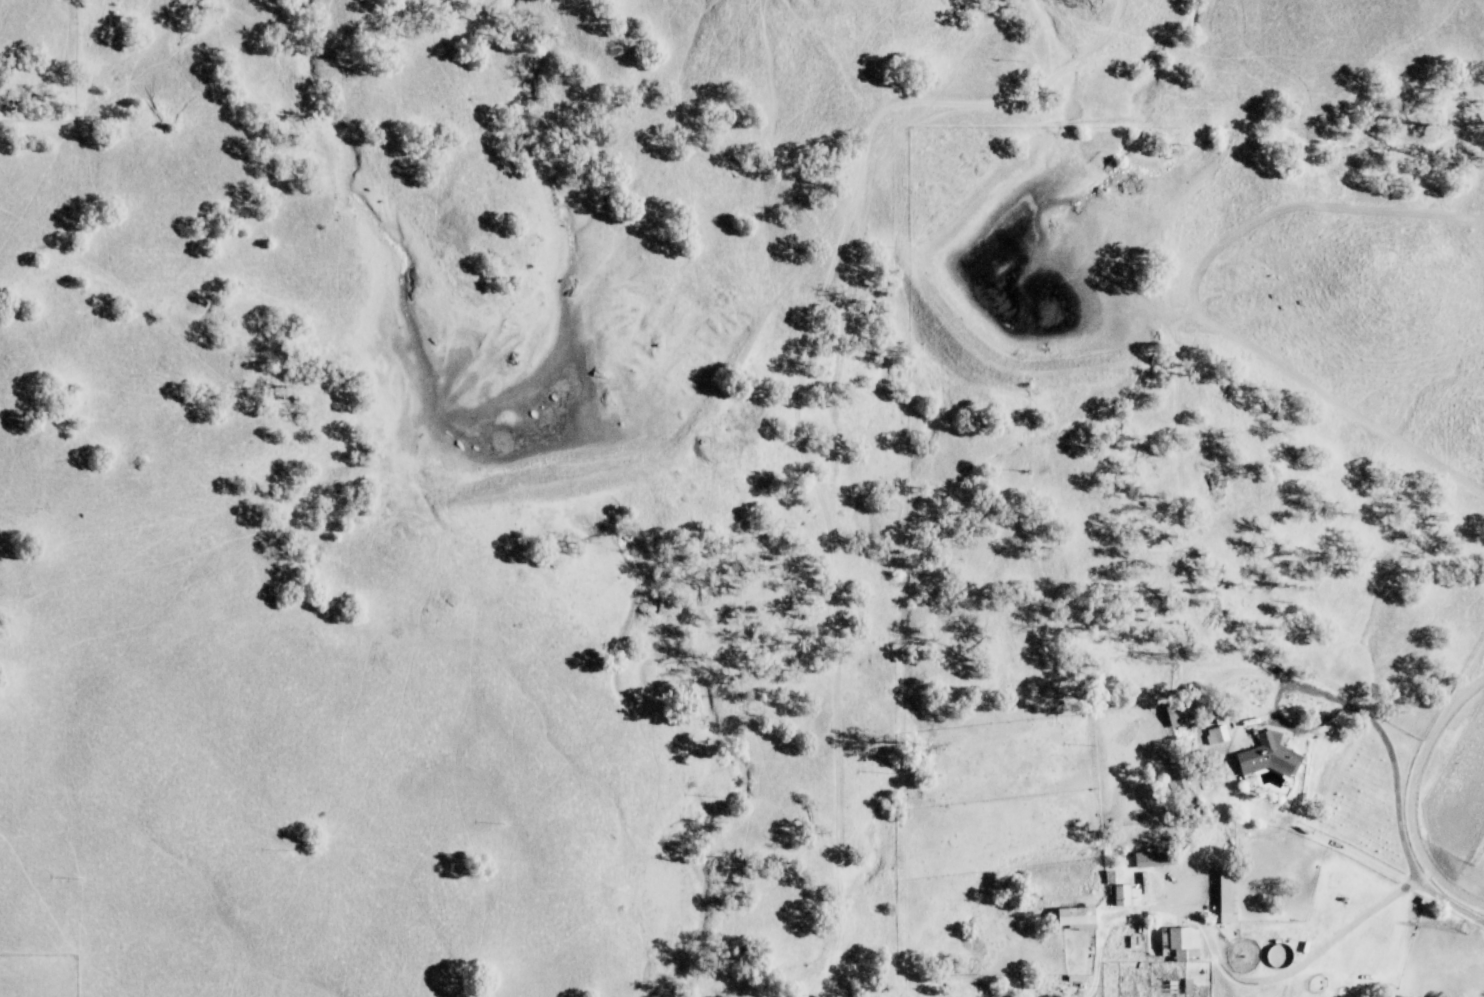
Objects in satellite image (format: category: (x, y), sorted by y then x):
road: (1462, 557)
building: (1220, 736)
building: (1270, 758)
road: (1394, 778)
building: (1155, 859)
building: (1128, 898)
road: (1449, 899)
building: (1076, 920)
road: (1351, 926)
building: (1181, 941)
road: (1269, 976)

